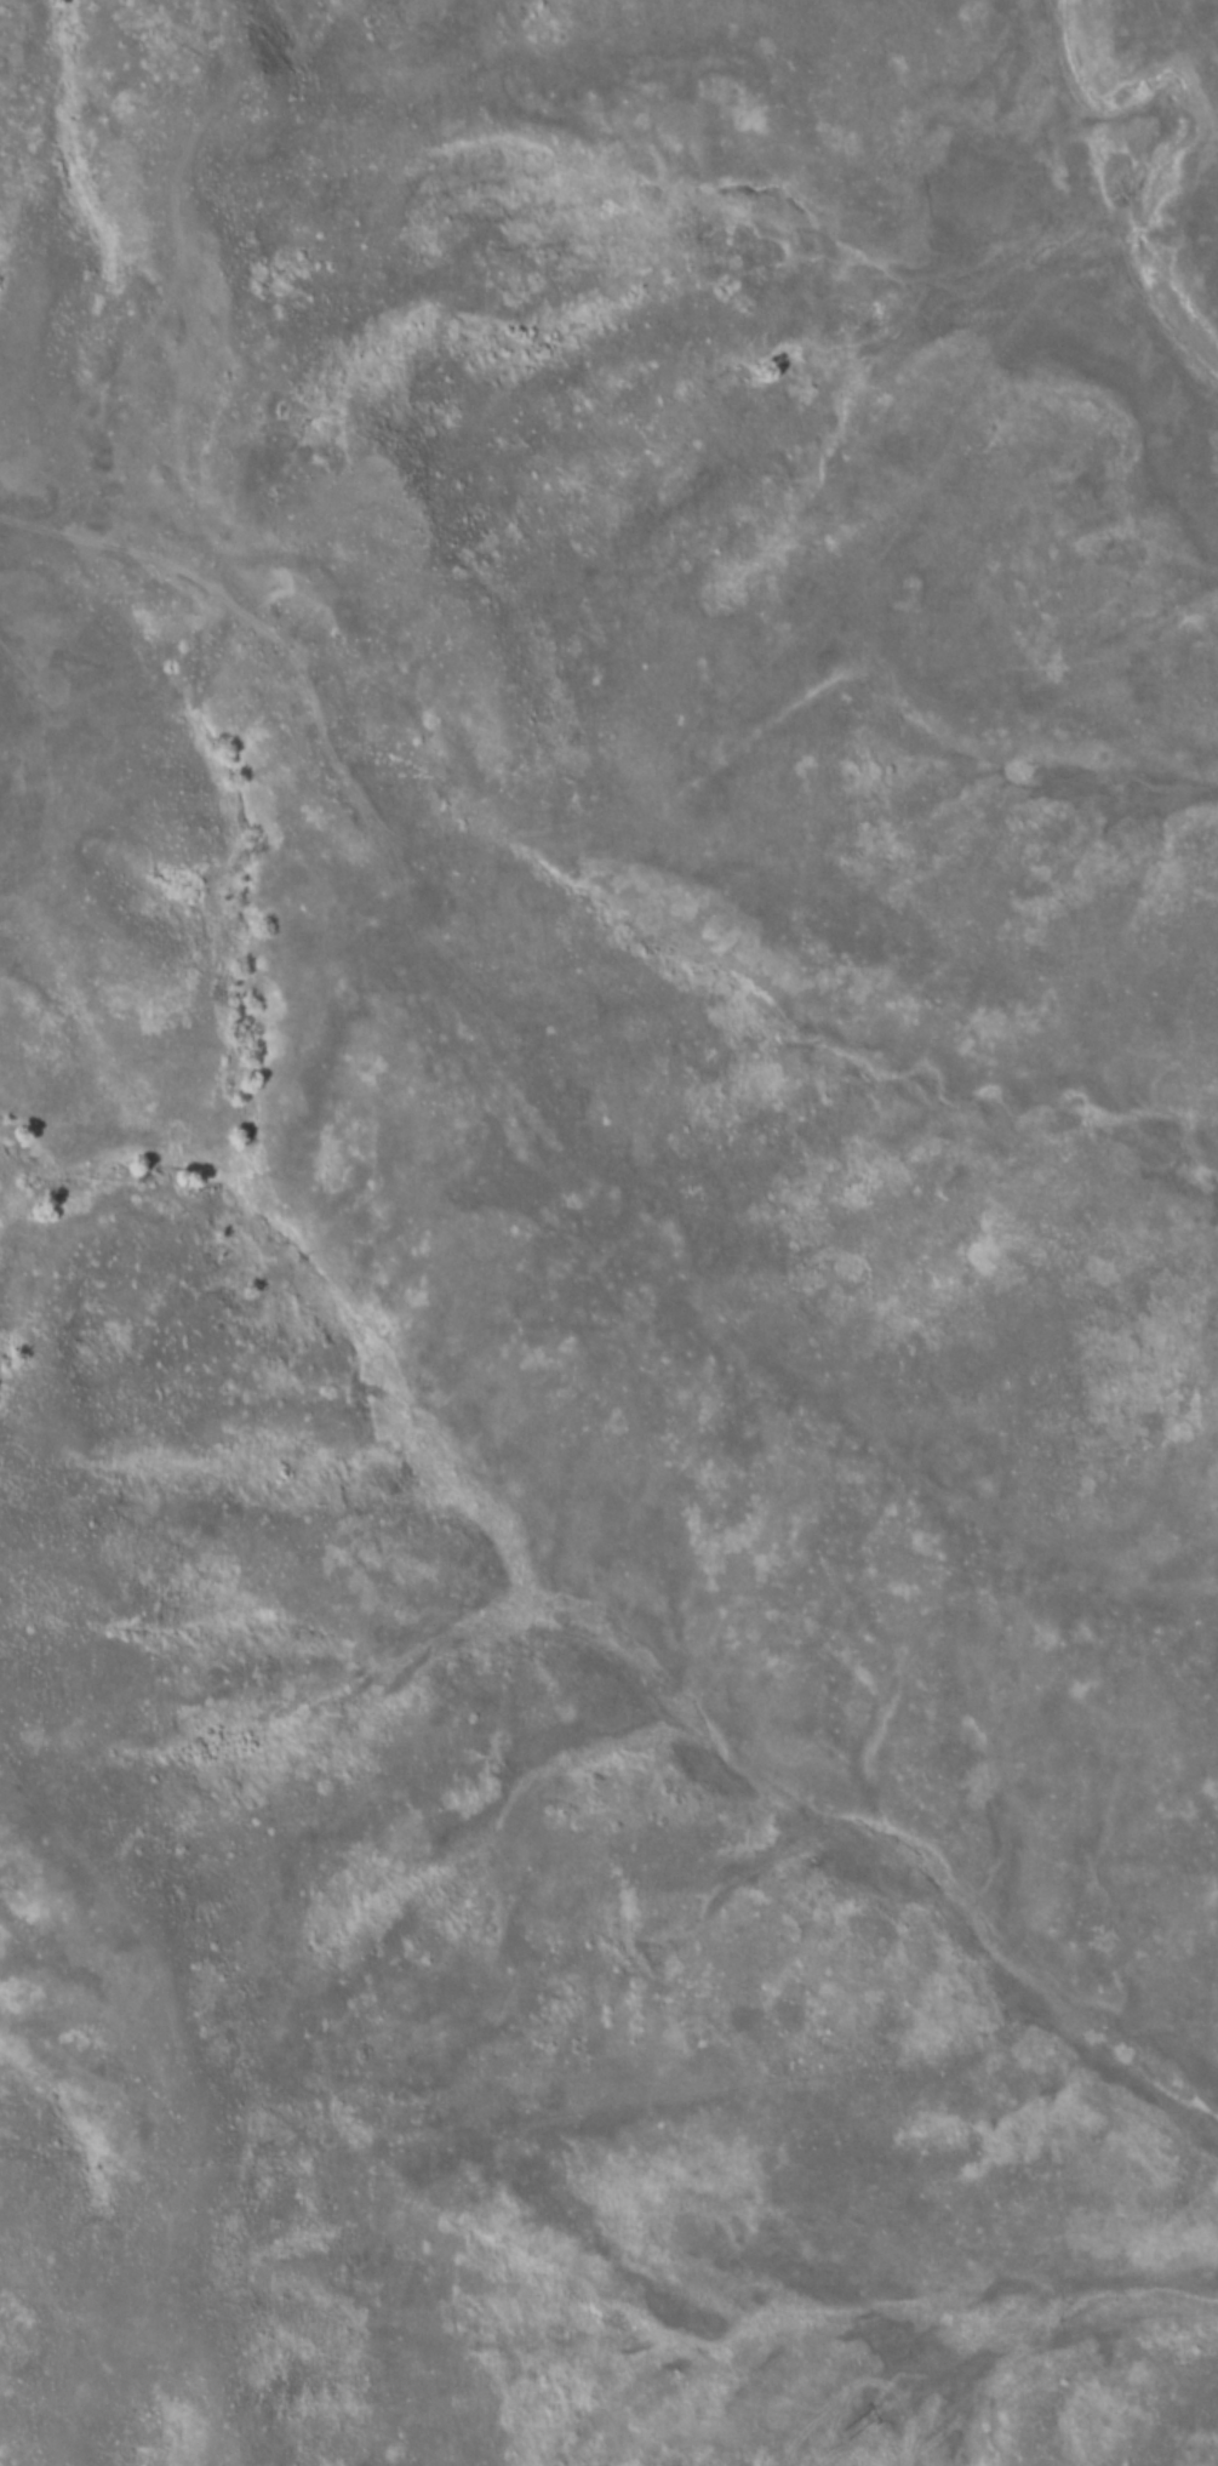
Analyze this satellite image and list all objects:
power tower: (846, 2438)

